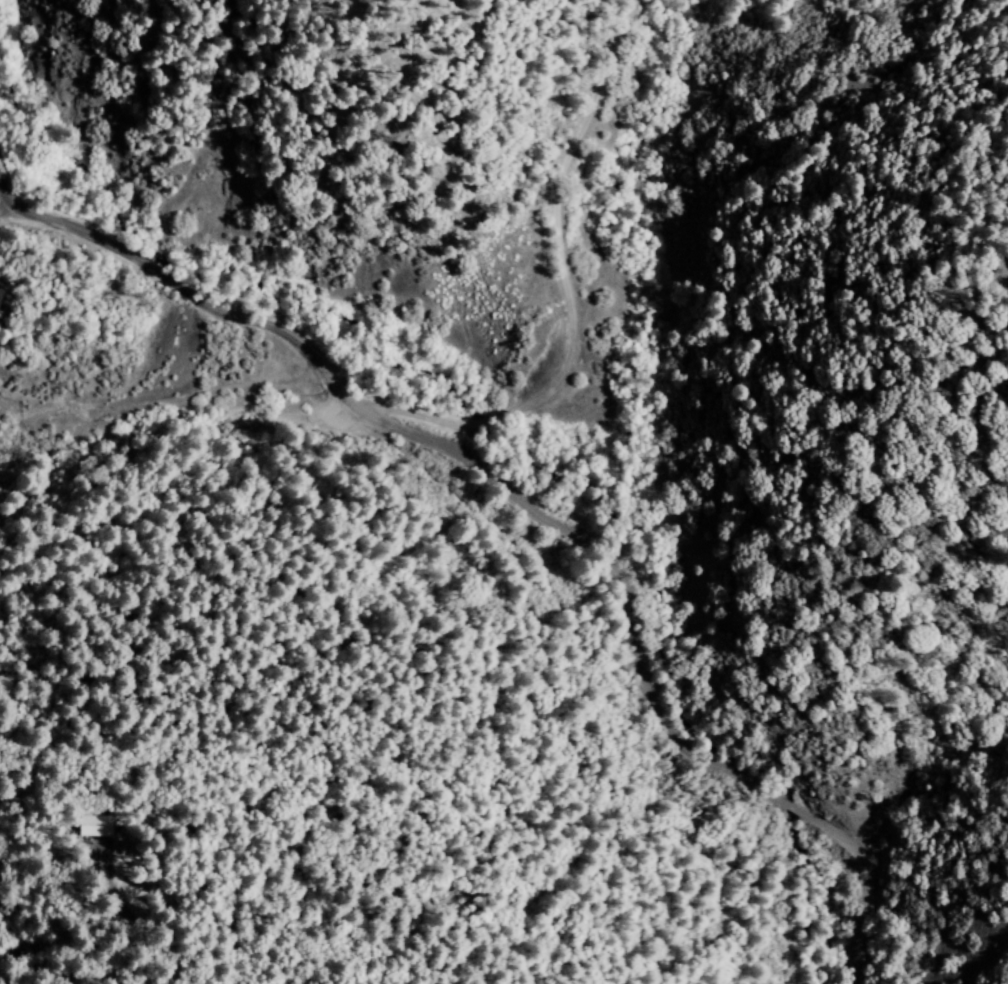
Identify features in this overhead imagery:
road: (183, 294)
road: (567, 294)
road: (613, 566)
road: (787, 807)
building: (93, 826)
road: (869, 878)

